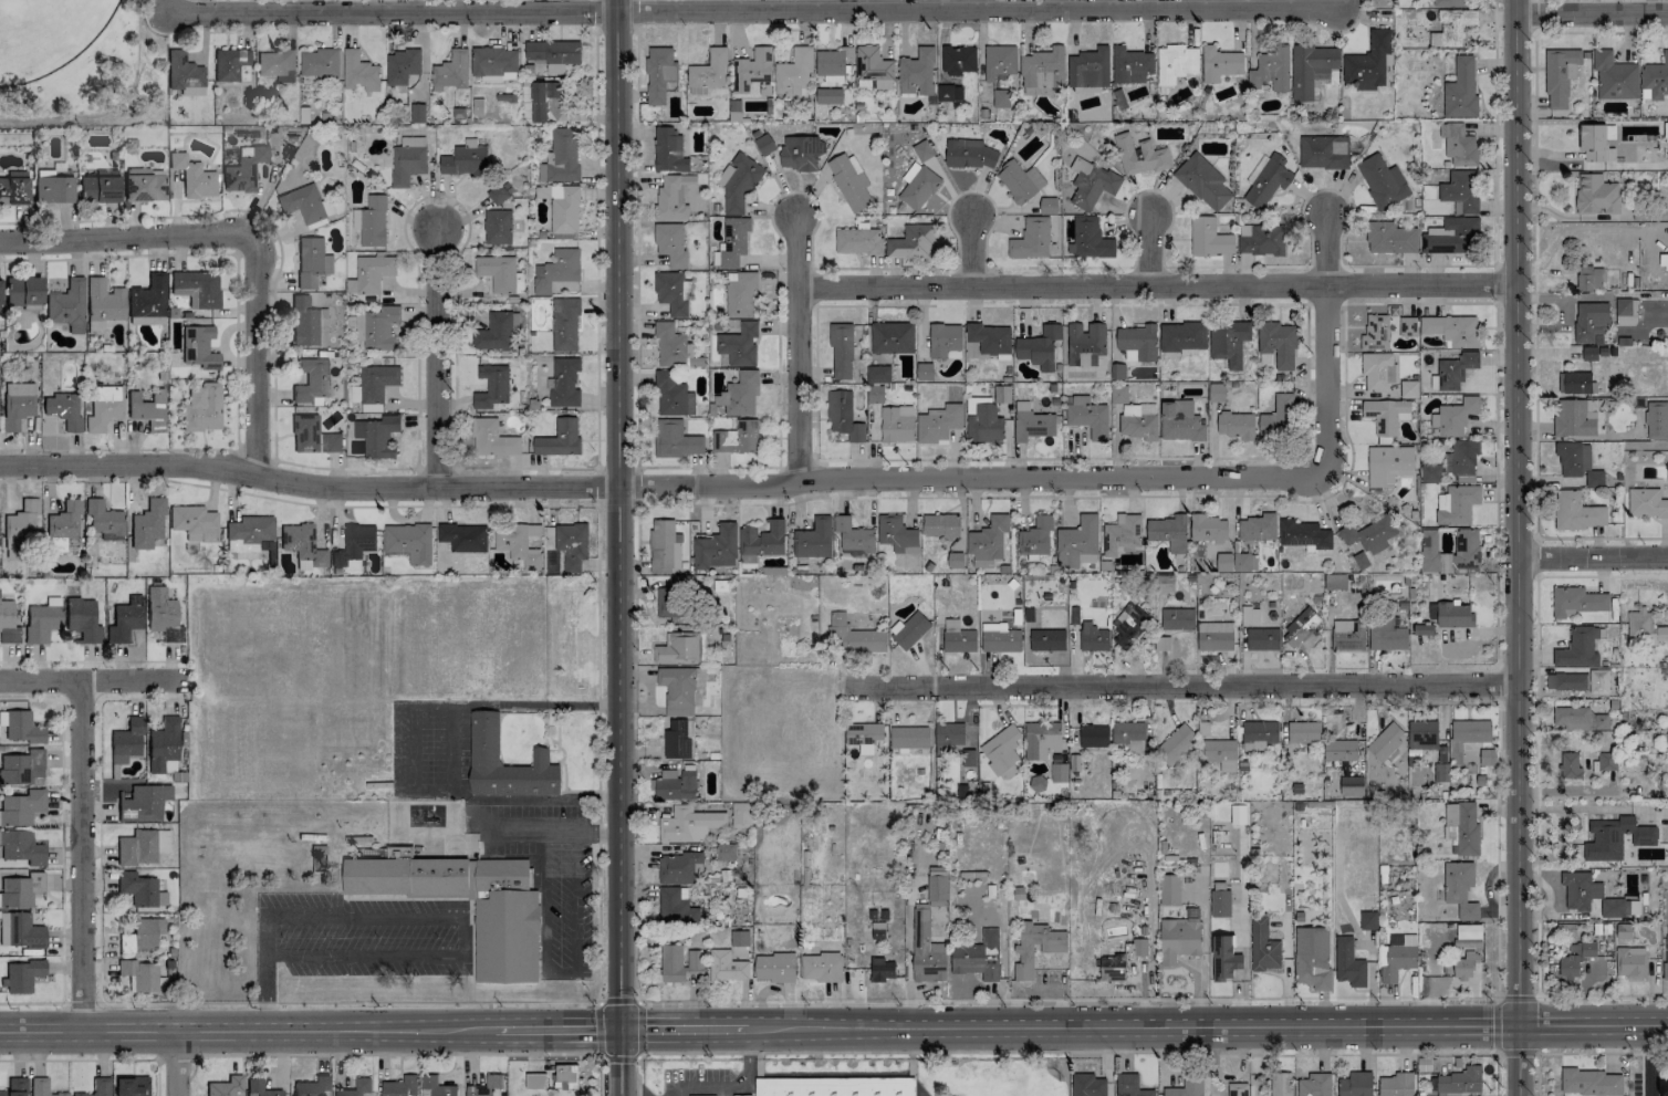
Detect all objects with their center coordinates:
building: (1448, 2)
road: (757, 11)
road: (634, 15)
road: (1533, 17)
road: (1594, 17)
building: (1455, 25)
road: (1601, 32)
park: (46, 34)
building: (553, 53)
building: (958, 60)
building: (493, 61)
building: (832, 61)
park: (82, 62)
building: (275, 62)
building: (319, 62)
building: (999, 62)
building: (1368, 62)
building: (229, 63)
building: (1176, 63)
building: (1219, 63)
building: (872, 64)
building: (400, 65)
building: (1130, 65)
building: (1088, 67)
building: (751, 69)
building: (1311, 69)
building: (1270, 70)
building: (450, 71)
building: (359, 72)
building: (916, 72)
building: (1042, 72)
building: (658, 73)
building: (707, 73)
building: (794, 73)
building: (184, 74)
building: (1560, 75)
building: (1614, 76)
building: (1656, 77)
building: (1460, 88)
building: (948, 93)
building: (828, 95)
building: (999, 97)
building: (542, 98)
building: (417, 112)
building: (1666, 129)
road: (1495, 133)
building: (1593, 143)
building: (763, 144)
building: (1458, 144)
building: (922, 149)
building: (668, 150)
building: (1323, 152)
building: (800, 153)
building: (969, 154)
building: (562, 155)
building: (1138, 155)
building: (463, 159)
building: (407, 160)
building: (243, 169)
building: (194, 177)
building: (848, 180)
building: (738, 181)
building: (1020, 181)
building: (1202, 181)
building: (1266, 181)
building: (1382, 181)
building: (1091, 182)
building: (144, 184)
building: (918, 186)
building: (13, 187)
building: (100, 187)
road: (1324, 188)
building: (53, 189)
road: (971, 190)
road: (1147, 190)
building: (1460, 190)
building: (1596, 195)
building: (671, 197)
building: (302, 203)
building: (1047, 205)
building: (563, 209)
building: (371, 221)
building: (497, 227)
building: (1450, 236)
building: (1209, 238)
building: (1389, 238)
building: (1031, 239)
building: (1088, 239)
building: (1261, 239)
building: (857, 240)
road: (127, 241)
road: (619, 242)
building: (732, 242)
building: (911, 242)
building: (670, 243)
road: (636, 248)
road: (1149, 248)
road: (971, 250)
building: (1662, 259)
building: (311, 261)
road: (1060, 267)
road: (1147, 267)
road: (1236, 267)
road: (1324, 267)
road: (1419, 267)
road: (971, 268)
building: (555, 270)
building: (372, 272)
building: (497, 272)
road: (778, 273)
building: (1589, 278)
building: (519, 282)
road: (1497, 284)
road: (1534, 285)
building: (198, 286)
road: (1158, 288)
building: (23, 291)
building: (671, 292)
building: (0, 293)
building: (740, 294)
building: (148, 296)
building: (103, 303)
road: (1419, 303)
road: (1324, 304)
building: (67, 305)
building: (1625, 311)
building: (303, 321)
building: (1589, 322)
building: (564, 324)
building: (358, 326)
building: (1407, 326)
building: (380, 327)
building: (1451, 330)
building: (496, 331)
building: (1375, 332)
building: (1182, 336)
building: (892, 337)
building: (944, 338)
building: (989, 338)
building: (1138, 341)
building: (1085, 342)
building: (1228, 342)
building: (1278, 343)
building: (669, 344)
building: (738, 344)
building: (198, 346)
building: (1039, 346)
road: (794, 347)
road: (1331, 349)
building: (841, 351)
building: (1588, 353)
road: (257, 356)
road: (435, 359)
building: (1455, 369)
building: (1117, 370)
building: (1375, 370)
building: (924, 372)
building: (877, 374)
building: (1390, 374)
building: (311, 380)
building: (376, 382)
building: (563, 383)
building: (1574, 383)
building: (491, 386)
building: (1408, 388)
building: (1216, 392)
building: (998, 393)
building: (874, 394)
building: (1118, 394)
building: (671, 395)
building: (739, 395)
building: (17, 404)
building: (103, 407)
building: (202, 407)
building: (63, 409)
building: (148, 409)
building: (1385, 414)
building: (843, 415)
building: (1087, 416)
building: (1453, 416)
building: (1278, 417)
building: (1572, 418)
building: (982, 419)
building: (1656, 419)
building: (1180, 420)
building: (1138, 421)
building: (896, 422)
building: (938, 422)
building: (1031, 422)
building: (1236, 425)
building: (312, 436)
building: (376, 436)
building: (559, 438)
building: (737, 438)
building: (492, 439)
building: (676, 439)
road: (814, 457)
building: (1461, 457)
building: (1577, 462)
road: (296, 463)
building: (1388, 465)
building: (1429, 472)
road: (974, 478)
road: (1497, 483)
road: (307, 484)
road: (636, 486)
road: (595, 487)
road: (1082, 495)
road: (296, 501)
building: (1456, 503)
building: (1646, 503)
building: (1576, 511)
building: (104, 520)
building: (64, 521)
building: (194, 522)
building: (147, 524)
building: (941, 524)
building: (20, 526)
building: (1207, 528)
building: (1258, 528)
building: (248, 532)
building: (1168, 532)
building: (896, 534)
building: (1303, 534)
building: (1369, 534)
building: (1122, 535)
building: (463, 536)
building: (853, 537)
building: (1035, 537)
building: (813, 539)
road: (1602, 539)
building: (761, 541)
building: (987, 541)
building: (409, 542)
building: (518, 542)
building: (1077, 543)
building: (302, 545)
building: (571, 545)
building: (660, 545)
building: (715, 545)
building: (354, 546)
building: (1466, 547)
road: (1521, 547)
building: (1428, 550)
building: (676, 551)
road: (1535, 557)
building: (1361, 560)
road: (1594, 561)
building: (1223, 562)
building: (1244, 562)
building: (1443, 563)
road: (1602, 575)
building: (1334, 582)
building: (1164, 583)
building: (1576, 602)
building: (668, 603)
building: (163, 614)
building: (1249, 615)
building: (1451, 615)
building: (1177, 618)
building: (83, 619)
building: (42, 620)
building: (124, 622)
building: (8, 623)
building: (1128, 624)
building: (1644, 627)
building: (1302, 629)
building: (1422, 629)
building: (909, 630)
building: (1347, 635)
building: (1386, 635)
building: (852, 636)
building: (1213, 636)
building: (957, 637)
building: (999, 637)
building: (1093, 637)
building: (1046, 639)
building: (1262, 639)
building: (678, 648)
building: (1577, 648)
road: (91, 660)
building: (1565, 681)
road: (91, 682)
road: (1498, 685)
road: (1181, 686)
building: (677, 689)
road: (581, 703)
road: (1468, 703)
building: (1578, 718)
building: (20, 727)
building: (1303, 732)
building: (1128, 734)
building: (1258, 734)
building: (1422, 734)
building: (863, 735)
building: (947, 735)
building: (1093, 735)
building: (1466, 735)
building: (909, 737)
building: (677, 739)
building: (1041, 739)
building: (1666, 740)
building: (125, 741)
building: (1386, 742)
building: (1175, 743)
road: (410, 744)
building: (163, 745)
building: (1339, 750)
building: (1001, 752)
building: (1220, 753)
road: (596, 754)
building: (483, 755)
building: (1485, 756)
building: (1606, 761)
building: (1568, 765)
building: (20, 766)
building: (1345, 769)
building: (1059, 772)
building: (1441, 772)
building: (675, 784)
building: (1351, 785)
road: (1535, 786)
road: (618, 791)
road: (462, 793)
road: (546, 796)
building: (142, 803)
building: (21, 807)
building: (739, 814)
building: (688, 824)
building: (1461, 826)
road: (552, 833)
building: (1615, 837)
building: (161, 842)
building: (21, 847)
building: (136, 847)
road: (62, 850)
road: (1498, 850)
building: (724, 852)
road: (83, 859)
building: (678, 867)
building: (405, 875)
building: (137, 888)
building: (1459, 888)
building: (20, 889)
building: (1169, 889)
building: (936, 890)
building: (1580, 890)
building: (1219, 902)
building: (676, 906)
building: (1619, 907)
road: (413, 915)
building: (1368, 920)
building: (505, 922)
building: (20, 930)
building: (877, 930)
building: (1624, 930)
building: (1468, 931)
building: (1565, 931)
building: (142, 936)
building: (739, 938)
building: (1178, 939)
building: (1263, 946)
building: (1053, 948)
building: (925, 949)
building: (978, 957)
building: (1312, 957)
building: (1398, 957)
building: (1666, 957)
building: (1223, 958)
building: (1575, 958)
building: (1120, 960)
building: (1630, 962)
building: (678, 963)
building: (1348, 963)
building: (726, 965)
building: (1464, 965)
building: (773, 967)
building: (820, 967)
building: (882, 969)
building: (21, 975)
building: (140, 975)
road: (561, 975)
road: (1518, 996)
road: (156, 1001)
road: (1603, 1001)
road: (596, 1002)
road: (821, 1004)
road: (1498, 1023)
road: (834, 1030)
road: (1056, 1051)
road: (1516, 1052)
road: (1602, 1052)
road: (394, 1053)
road: (175, 1057)
road: (77, 1058)
road: (1649, 1060)
road: (177, 1065)
road: (1498, 1073)
road: (1536, 1074)
building: (566, 1075)
road: (156, 1076)
road: (600, 1077)
building: (534, 1081)
building: (1460, 1081)
building: (1589, 1082)
building: (1281, 1084)
building: (1314, 1084)
building: (1355, 1084)
road: (734, 1085)
building: (1086, 1085)
building: (1395, 1085)
building: (131, 1086)
building: (225, 1086)
building: (312, 1086)
building: (399, 1086)
building: (484, 1086)
road: (638, 1086)
building: (834, 1086)
building: (1129, 1086)
building: (1187, 1086)
building: (14, 1087)
building: (42, 1087)
building: (97, 1087)
building: (436, 1087)
building: (260, 1088)
building: (355, 1088)
building: (1237, 1089)

